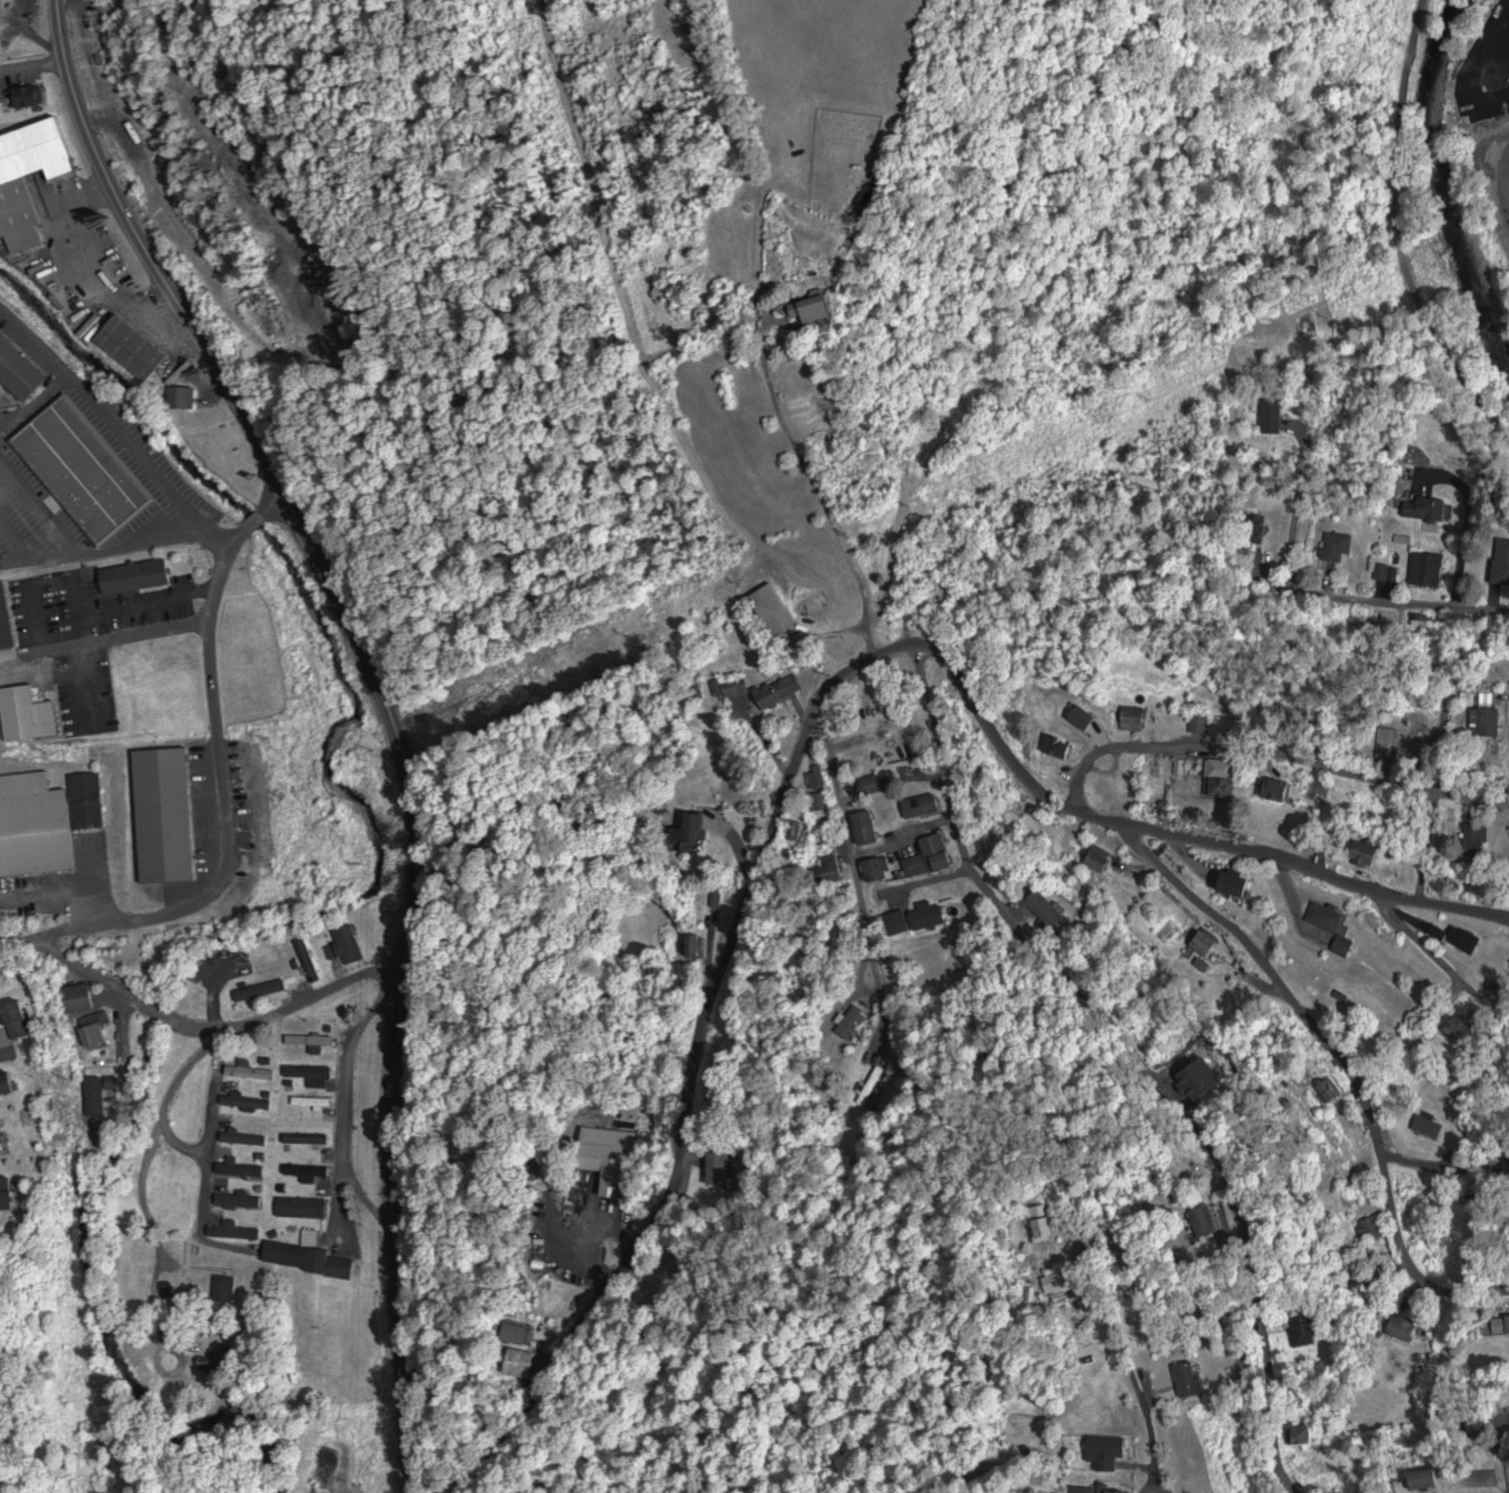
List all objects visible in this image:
building: (0, 11)
building: (31, 95)
river: (1441, 160)
road: (1507, 183)
building: (19, 205)
road: (1400, 233)
building: (813, 305)
building: (134, 345)
building: (20, 367)
building: (185, 395)
building: (1274, 414)
building: (85, 468)
building: (1428, 507)
road: (826, 509)
building: (1261, 527)
building: (1339, 545)
road: (1466, 552)
building: (1502, 559)
building: (1430, 568)
building: (137, 574)
road: (1403, 605)
building: (775, 608)
building: (6, 616)
building: (738, 684)
building: (782, 689)
road: (390, 710)
building: (30, 712)
building: (1137, 714)
building: (1427, 717)
building: (1488, 720)
building: (1203, 722)
road: (805, 735)
building: (1064, 746)
building: (896, 753)
road: (1273, 755)
building: (1222, 771)
building: (819, 777)
road: (223, 778)
building: (880, 781)
building: (1280, 788)
building: (1126, 796)
building: (89, 798)
building: (825, 802)
building: (924, 805)
building: (168, 813)
building: (35, 824)
building: (868, 826)
building: (695, 829)
road: (850, 838)
building: (1479, 839)
road: (1431, 848)
building: (1367, 852)
building: (932, 855)
building: (1101, 856)
road: (969, 859)
building: (833, 867)
building: (878, 868)
building: (1236, 883)
building: (1048, 910)
building: (931, 915)
building: (1329, 915)
building: (896, 922)
building: (1461, 936)
building: (1208, 942)
building: (698, 943)
building: (350, 944)
building: (1346, 944)
road: (1445, 962)
road: (75, 964)
building: (264, 989)
road: (336, 989)
building: (82, 996)
road: (161, 1013)
building: (18, 1018)
building: (856, 1021)
road: (1318, 1023)
building: (1462, 1026)
building: (97, 1027)
road: (218, 1029)
building: (313, 1038)
building: (253, 1069)
building: (315, 1072)
building: (7, 1081)
building: (1333, 1088)
building: (100, 1094)
building: (249, 1099)
building: (315, 1099)
road: (349, 1102)
road: (162, 1125)
building: (1431, 1125)
building: (2, 1130)
building: (247, 1135)
building: (309, 1136)
road: (1209, 1138)
road: (179, 1146)
road: (211, 1149)
building: (612, 1155)
building: (537, 1164)
road: (1421, 1164)
building: (243, 1166)
building: (724, 1166)
building: (311, 1169)
road: (342, 1186)
building: (7, 1192)
building: (241, 1199)
building: (306, 1206)
building: (1206, 1220)
building: (1043, 1222)
building: (1375, 1227)
building: (237, 1230)
building: (310, 1255)
building: (1057, 1281)
building: (228, 1288)
road: (1465, 1292)
building: (1508, 1316)
building: (1305, 1326)
building: (1406, 1327)
building: (519, 1332)
road: (1124, 1338)
building: (522, 1361)
building: (1190, 1378)
building: (1479, 1430)
building: (1304, 1434)
building: (1108, 1450)
building: (1426, 1478)
road: (1164, 1484)
building: (1086, 1488)
building: (1121, 1491)

